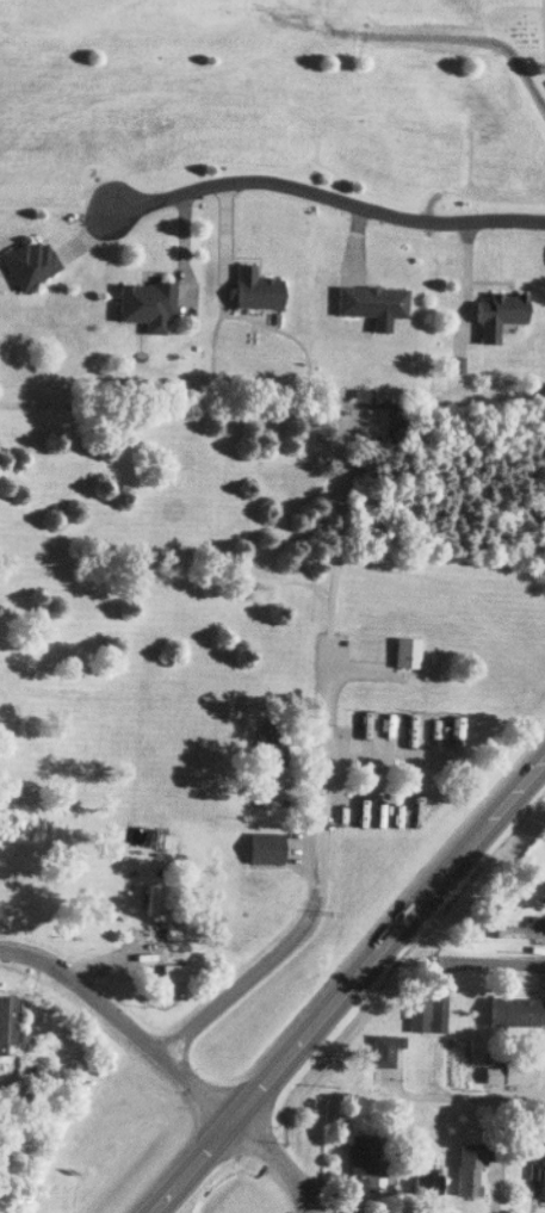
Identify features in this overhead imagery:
road: (326, 196)
building: (30, 261)
building: (255, 286)
building: (372, 299)
building: (145, 303)
building: (498, 312)
building: (407, 652)
building: (273, 743)
road: (327, 769)
building: (265, 784)
building: (266, 847)
building: (41, 908)
building: (518, 930)
road: (496, 961)
building: (174, 971)
road: (347, 985)
road: (86, 991)
building: (516, 1010)
building: (427, 1011)
road: (209, 1013)
building: (7, 1020)
building: (386, 1048)
building: (516, 1069)
building: (363, 1162)
building: (469, 1169)
building: (427, 1180)
building: (543, 1182)

